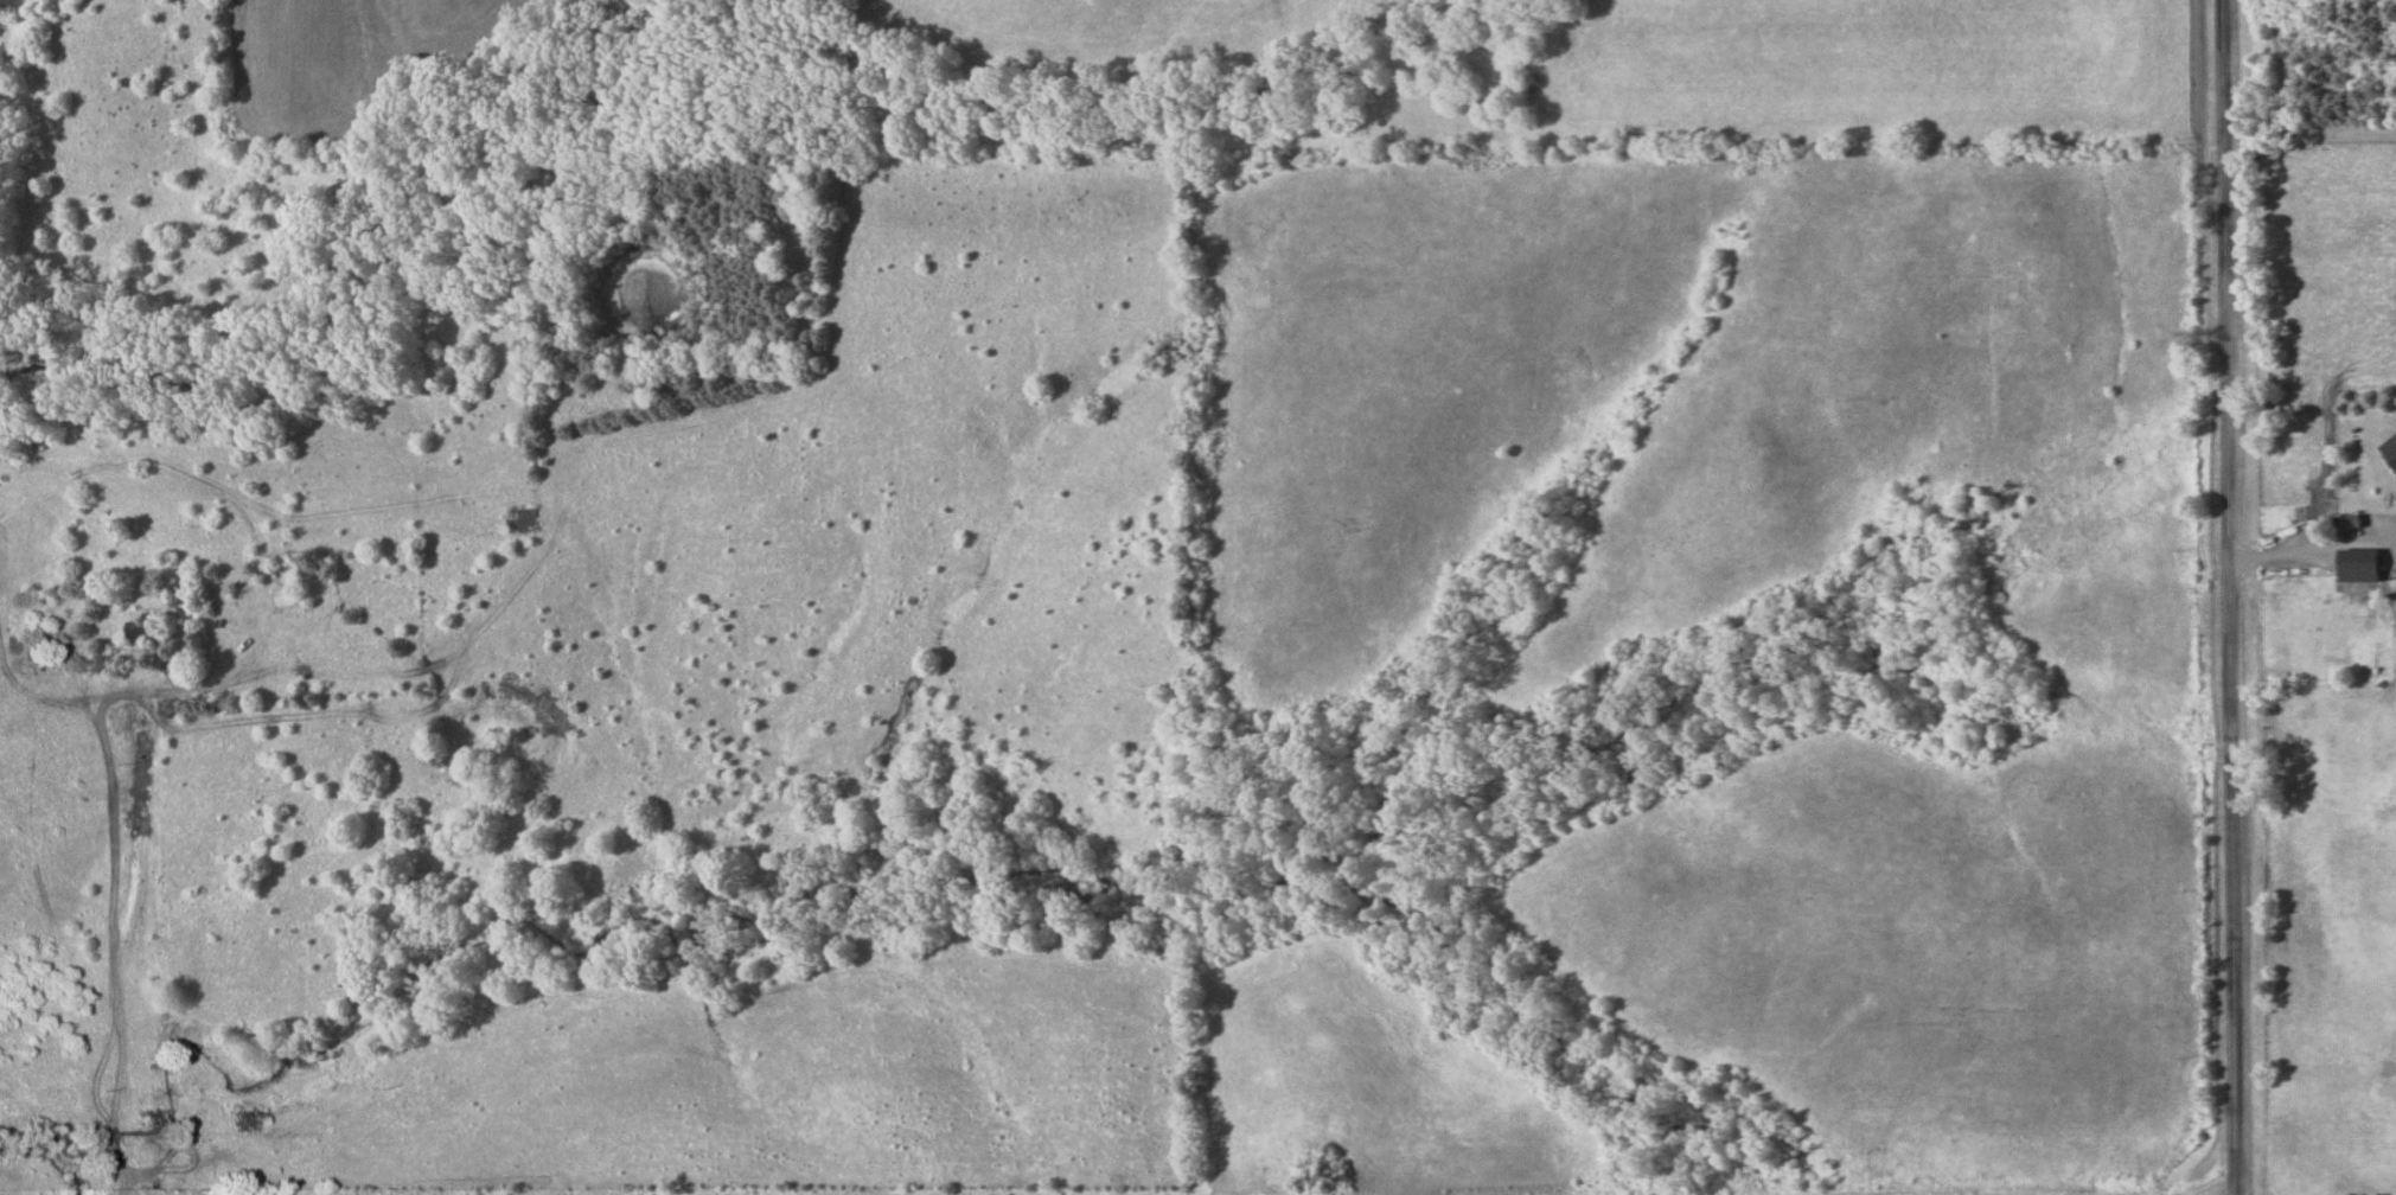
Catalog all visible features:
building: (2390, 450)
building: (519, 520)
building: (2357, 573)
road: (2225, 597)
building: (283, 599)
building: (146, 628)
road: (123, 941)
building: (1321, 1176)

